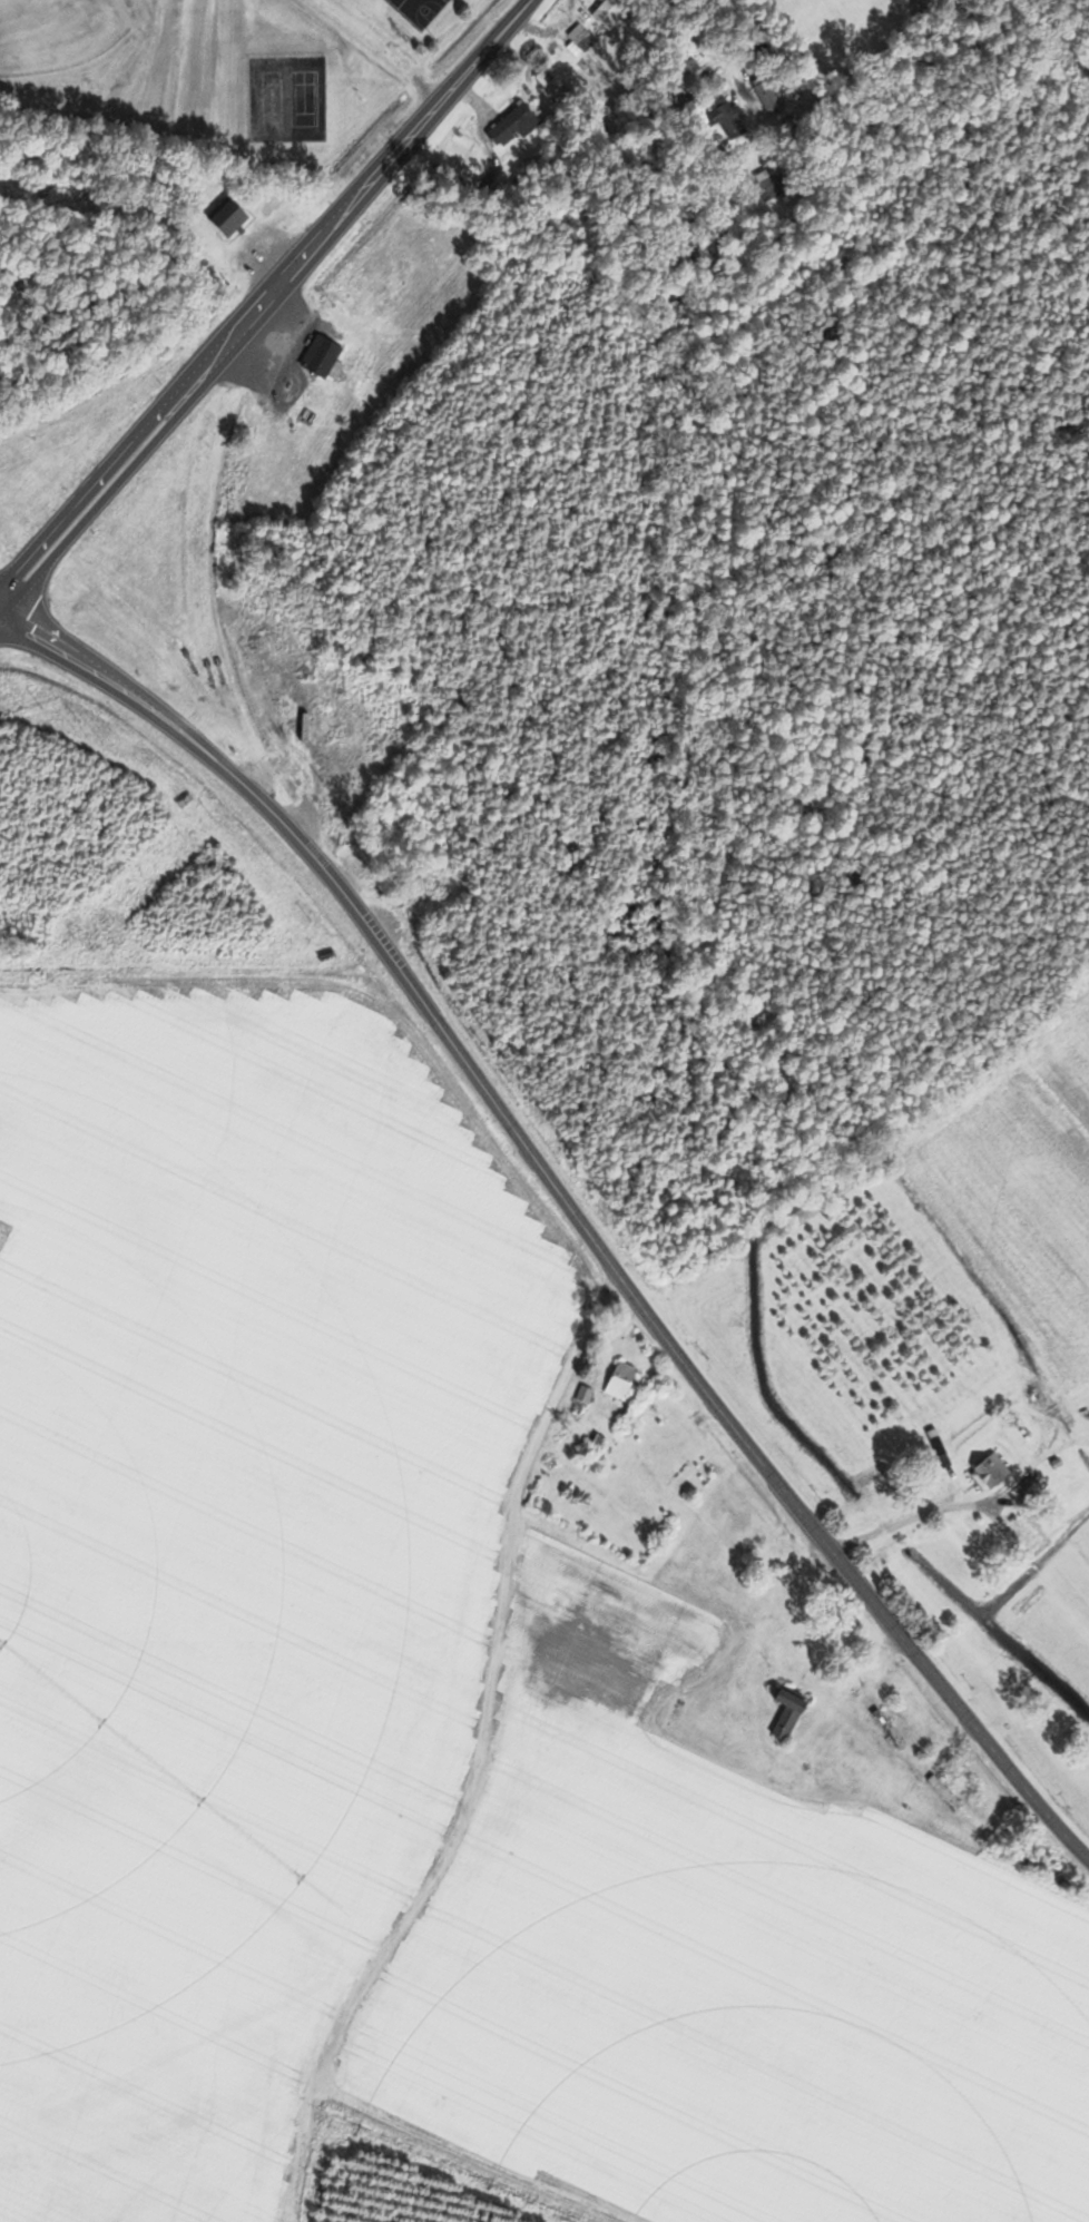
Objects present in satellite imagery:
building: (606, 10)
road: (690, 51)
building: (767, 94)
building: (725, 119)
park: (166, 121)
building: (513, 122)
building: (771, 185)
road: (352, 199)
building: (226, 218)
building: (320, 357)
road: (84, 494)
road: (95, 509)
building: (318, 725)
road: (568, 1202)
building: (621, 1382)
building: (581, 1396)
road: (536, 1434)
building: (987, 1472)
road: (892, 1523)
building: (785, 1711)
building: (886, 1728)
building: (943, 1792)

